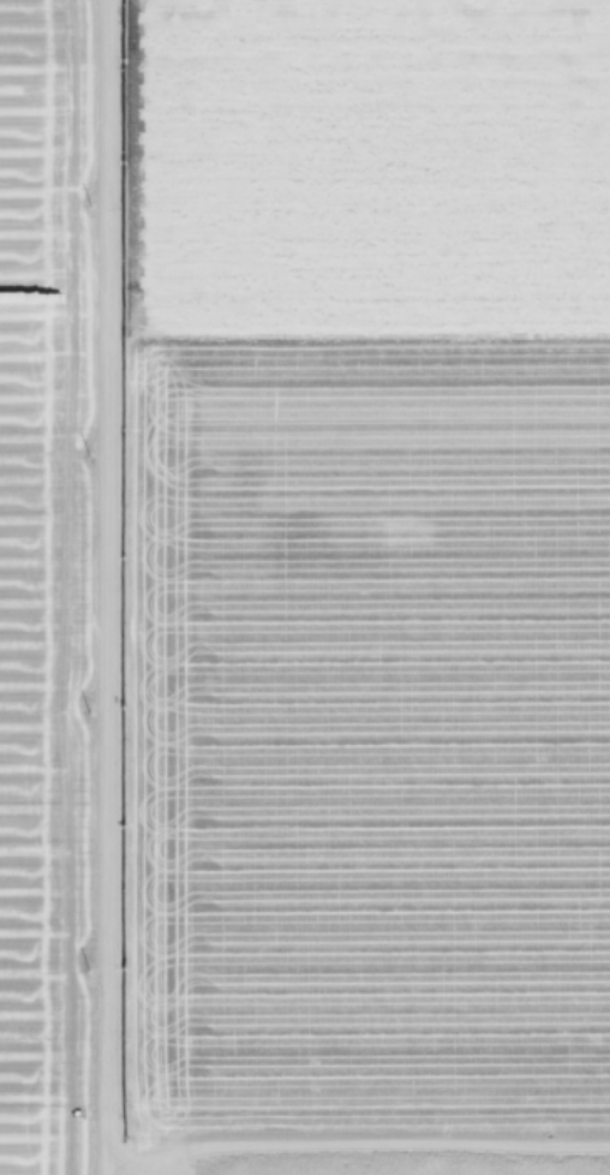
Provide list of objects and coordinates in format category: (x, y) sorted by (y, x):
road: (104, 587)

